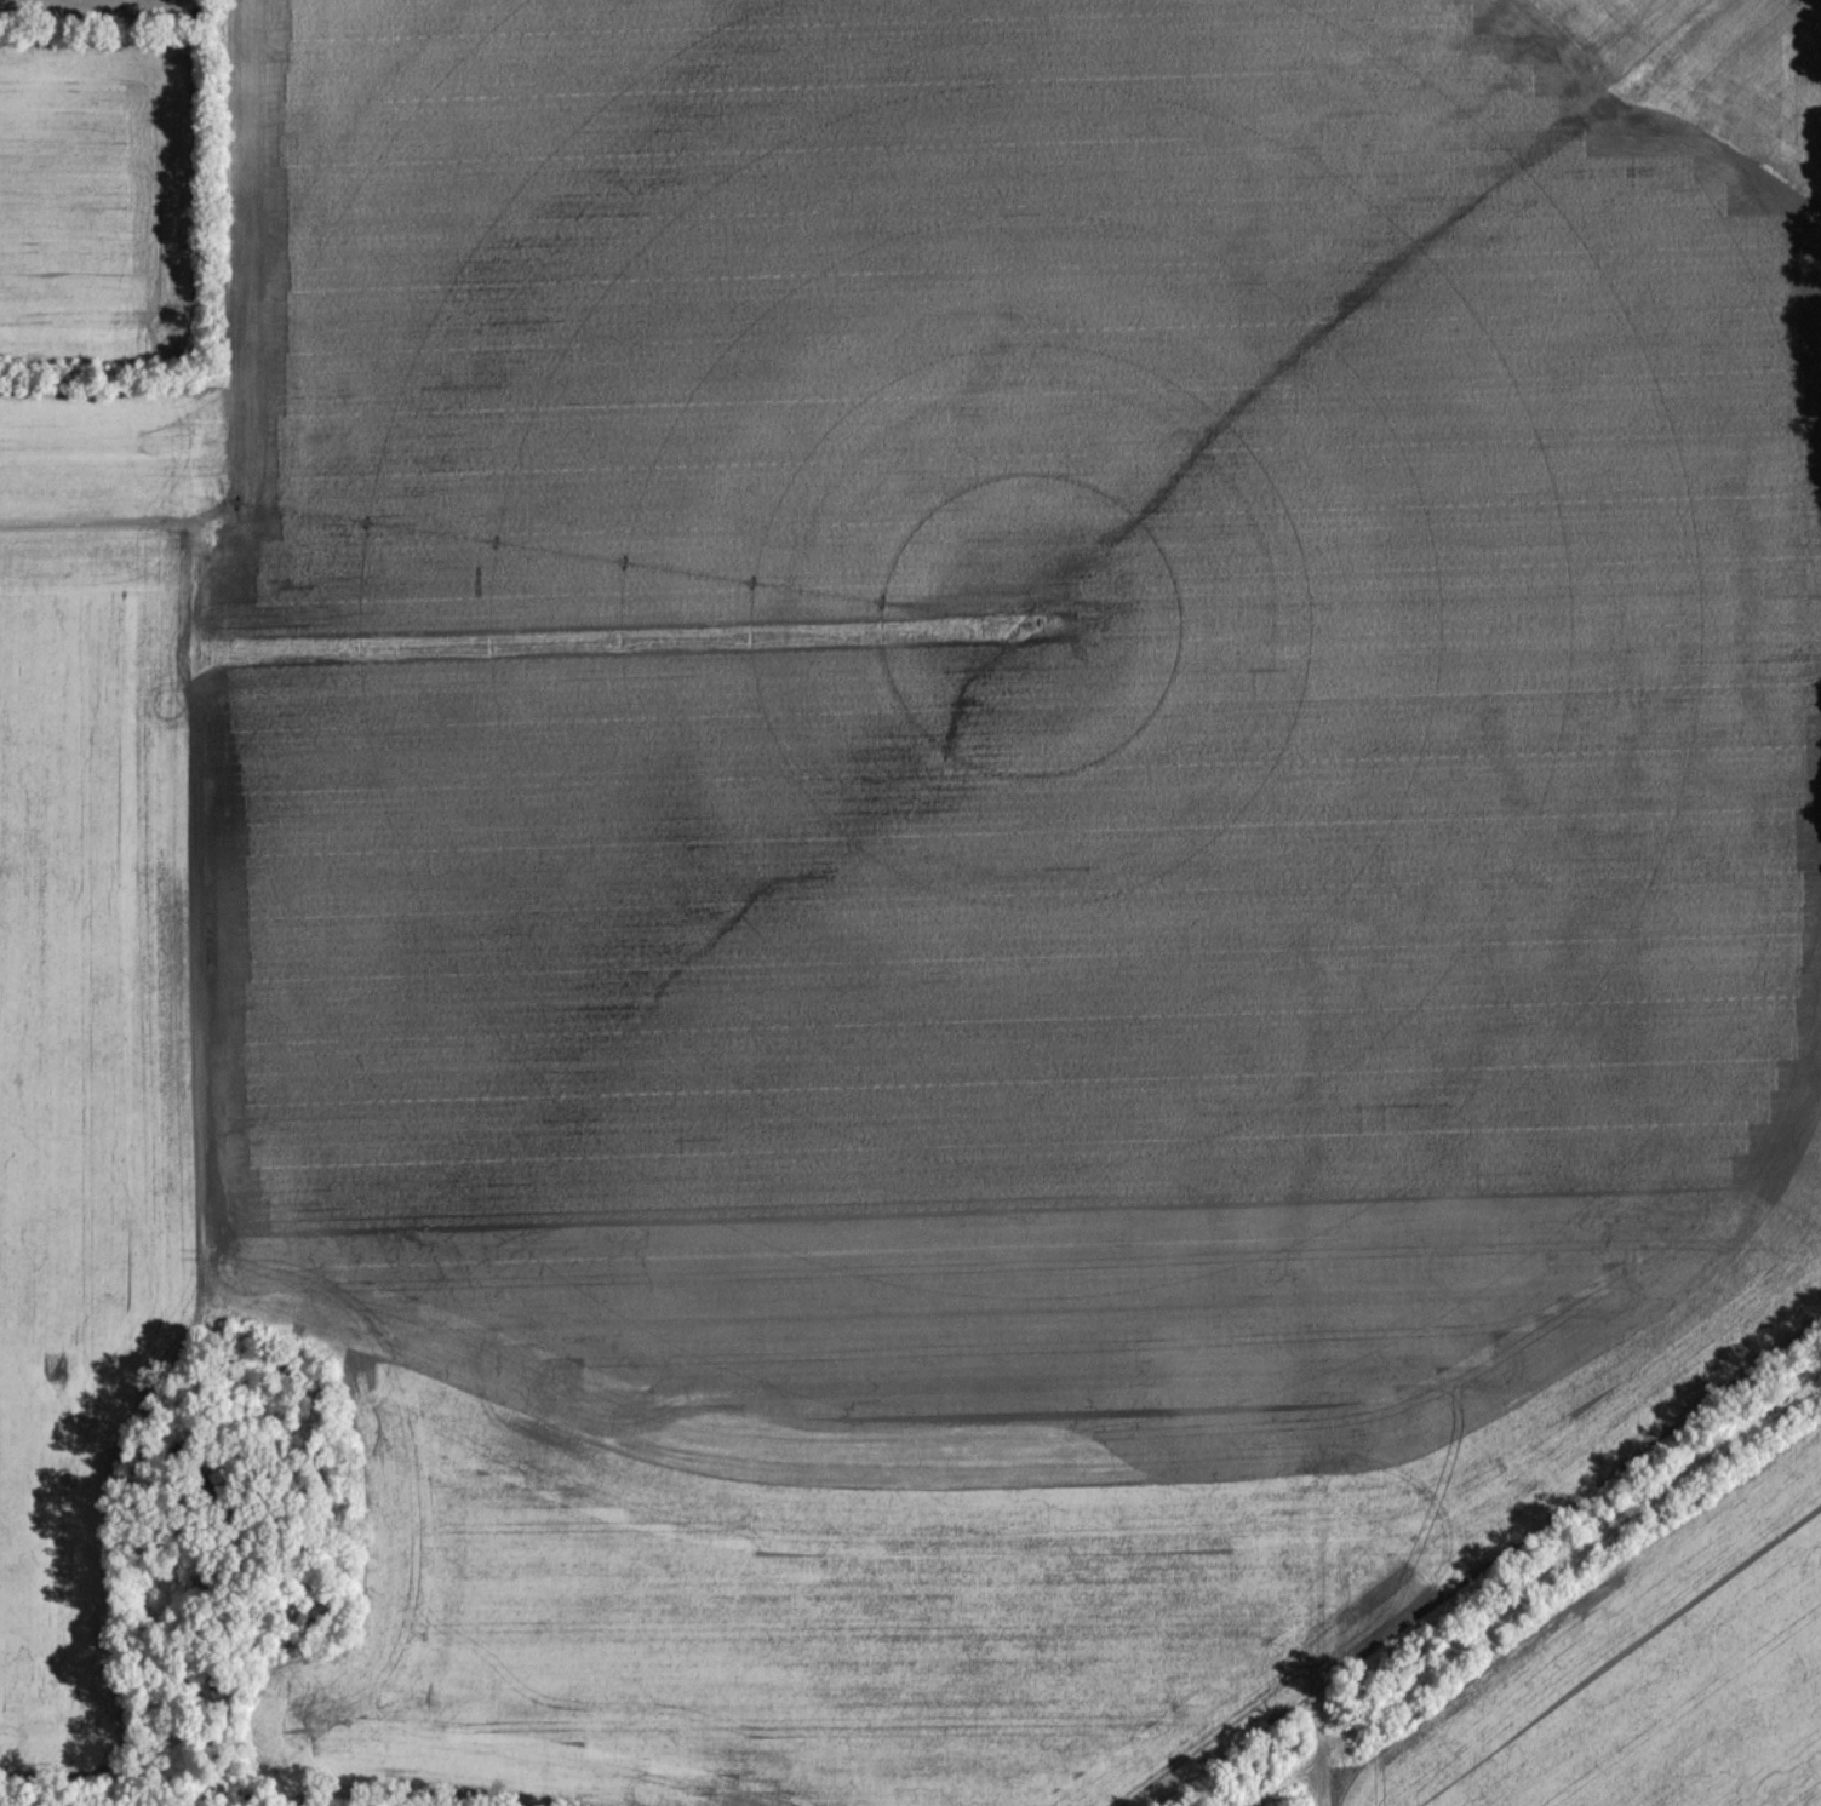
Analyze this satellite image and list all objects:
road: (1316, 1618)

